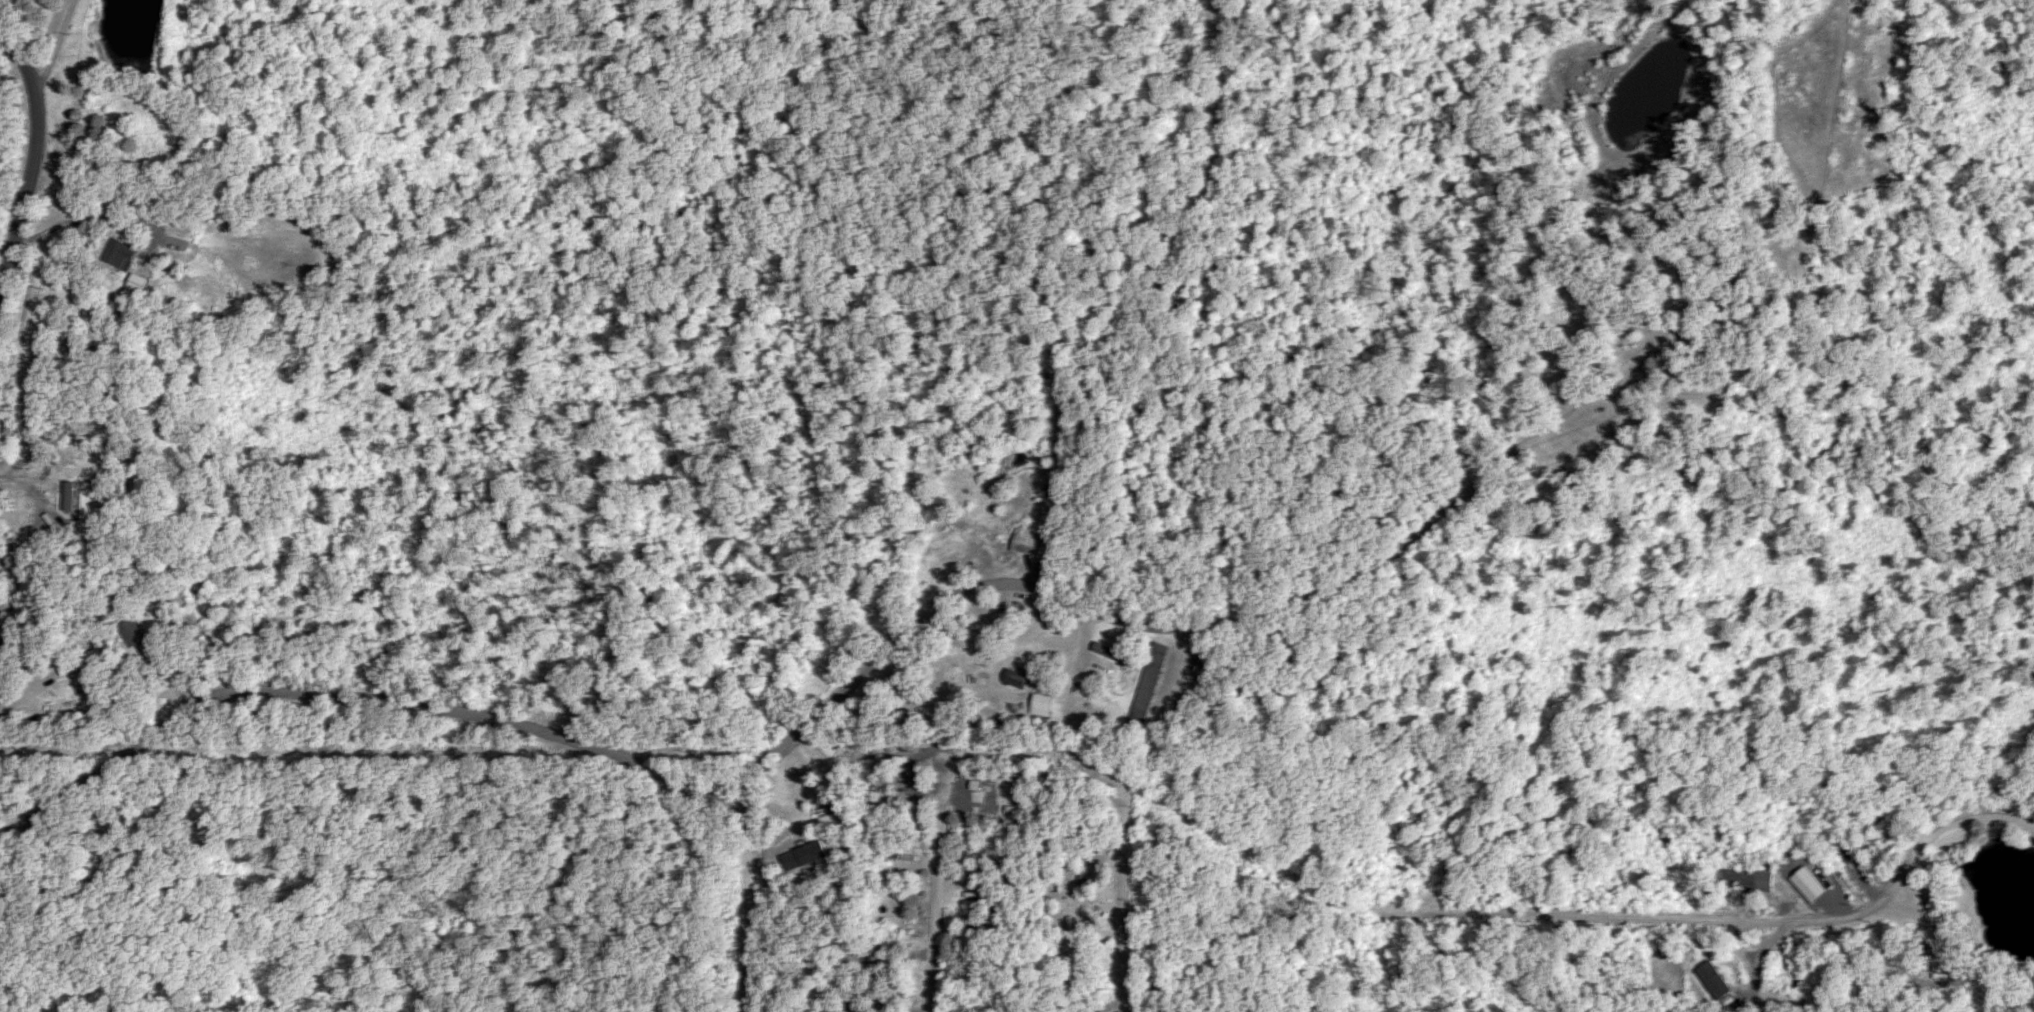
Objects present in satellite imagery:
road: (59, 55)
road: (191, 100)
road: (32, 148)
building: (144, 285)
road: (32, 492)
building: (1030, 541)
road: (1141, 621)
building: (130, 633)
building: (971, 640)
building: (1116, 655)
building: (1016, 679)
road: (343, 695)
building: (1041, 702)
road: (1036, 755)
building: (804, 857)
road: (747, 871)
building: (1770, 881)
building: (1810, 885)
road: (939, 890)
road: (1126, 896)
road: (1742, 907)

